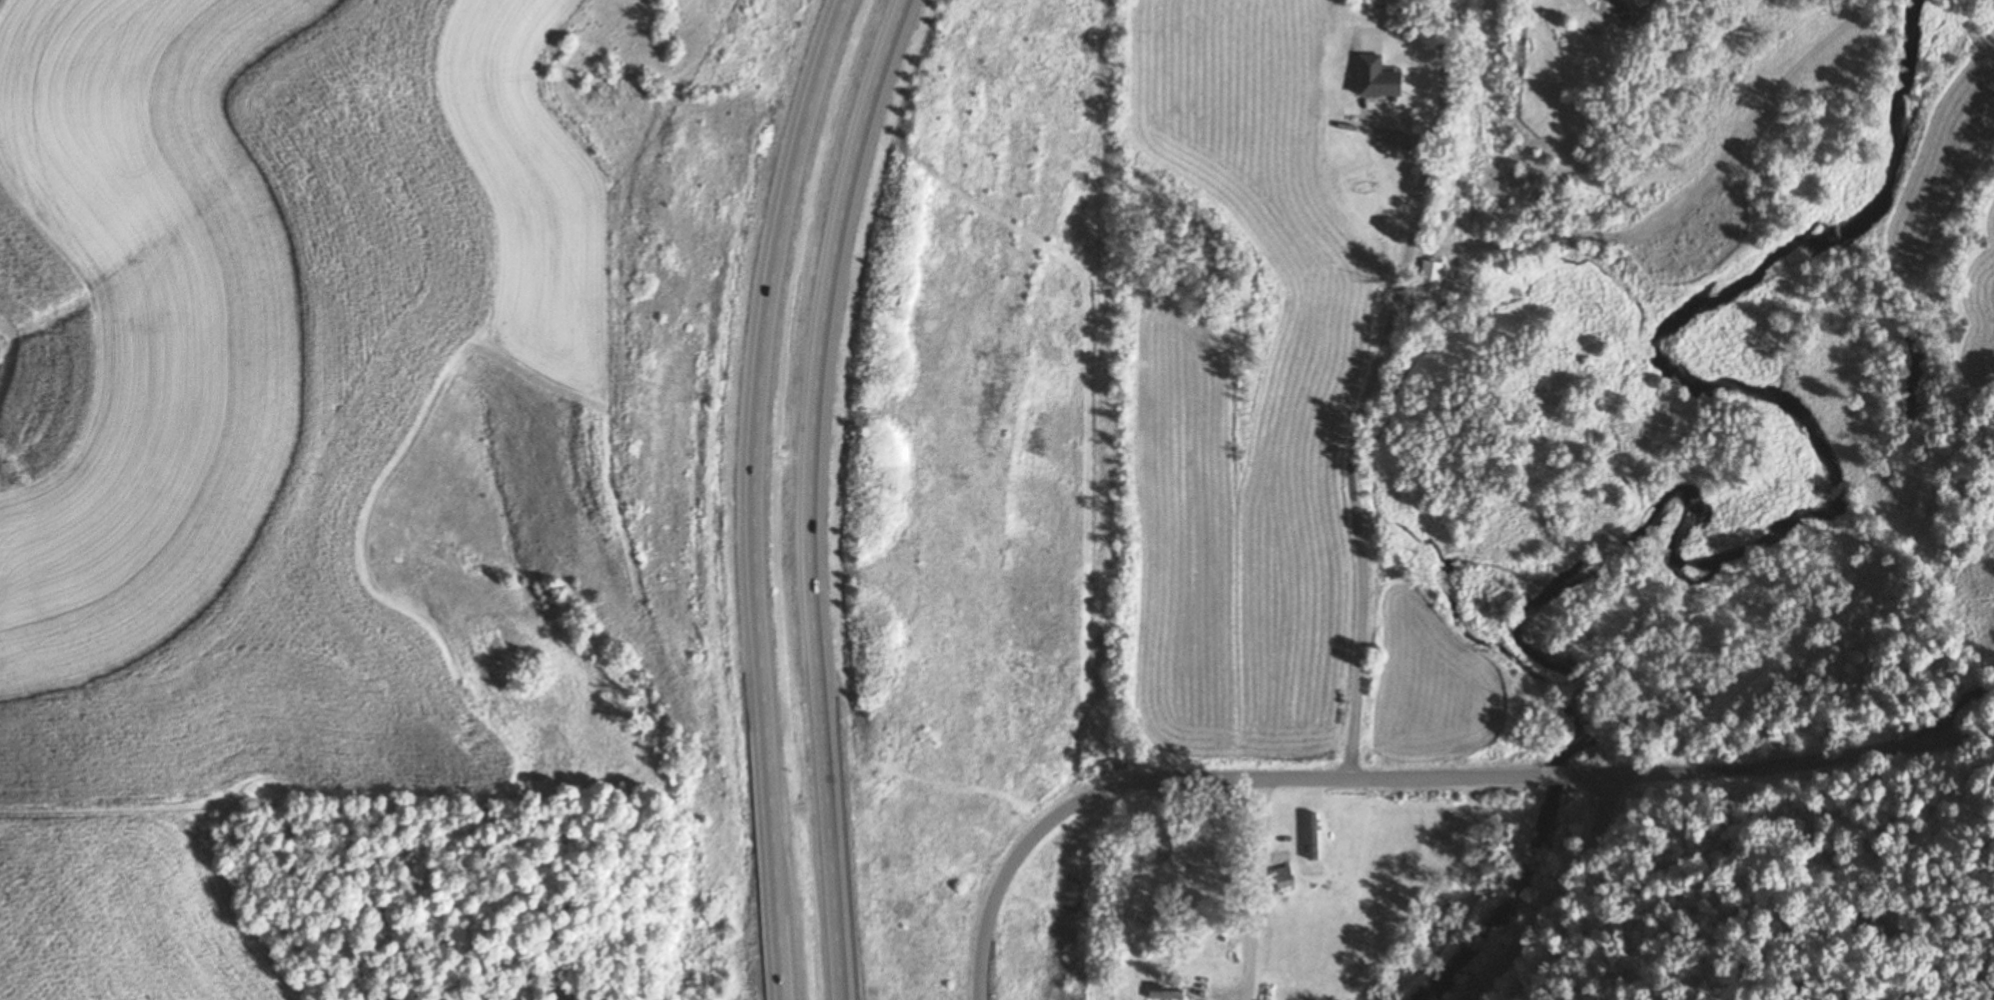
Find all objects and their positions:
road: (1604, 4)
road: (1421, 35)
building: (1367, 77)
building: (1389, 139)
building: (1424, 282)
road: (1358, 405)
road: (807, 494)
road: (751, 495)
road: (1955, 715)
road: (1416, 780)
building: (1314, 837)
building: (1286, 877)
road: (1531, 882)
road: (1253, 889)
building: (1164, 992)

